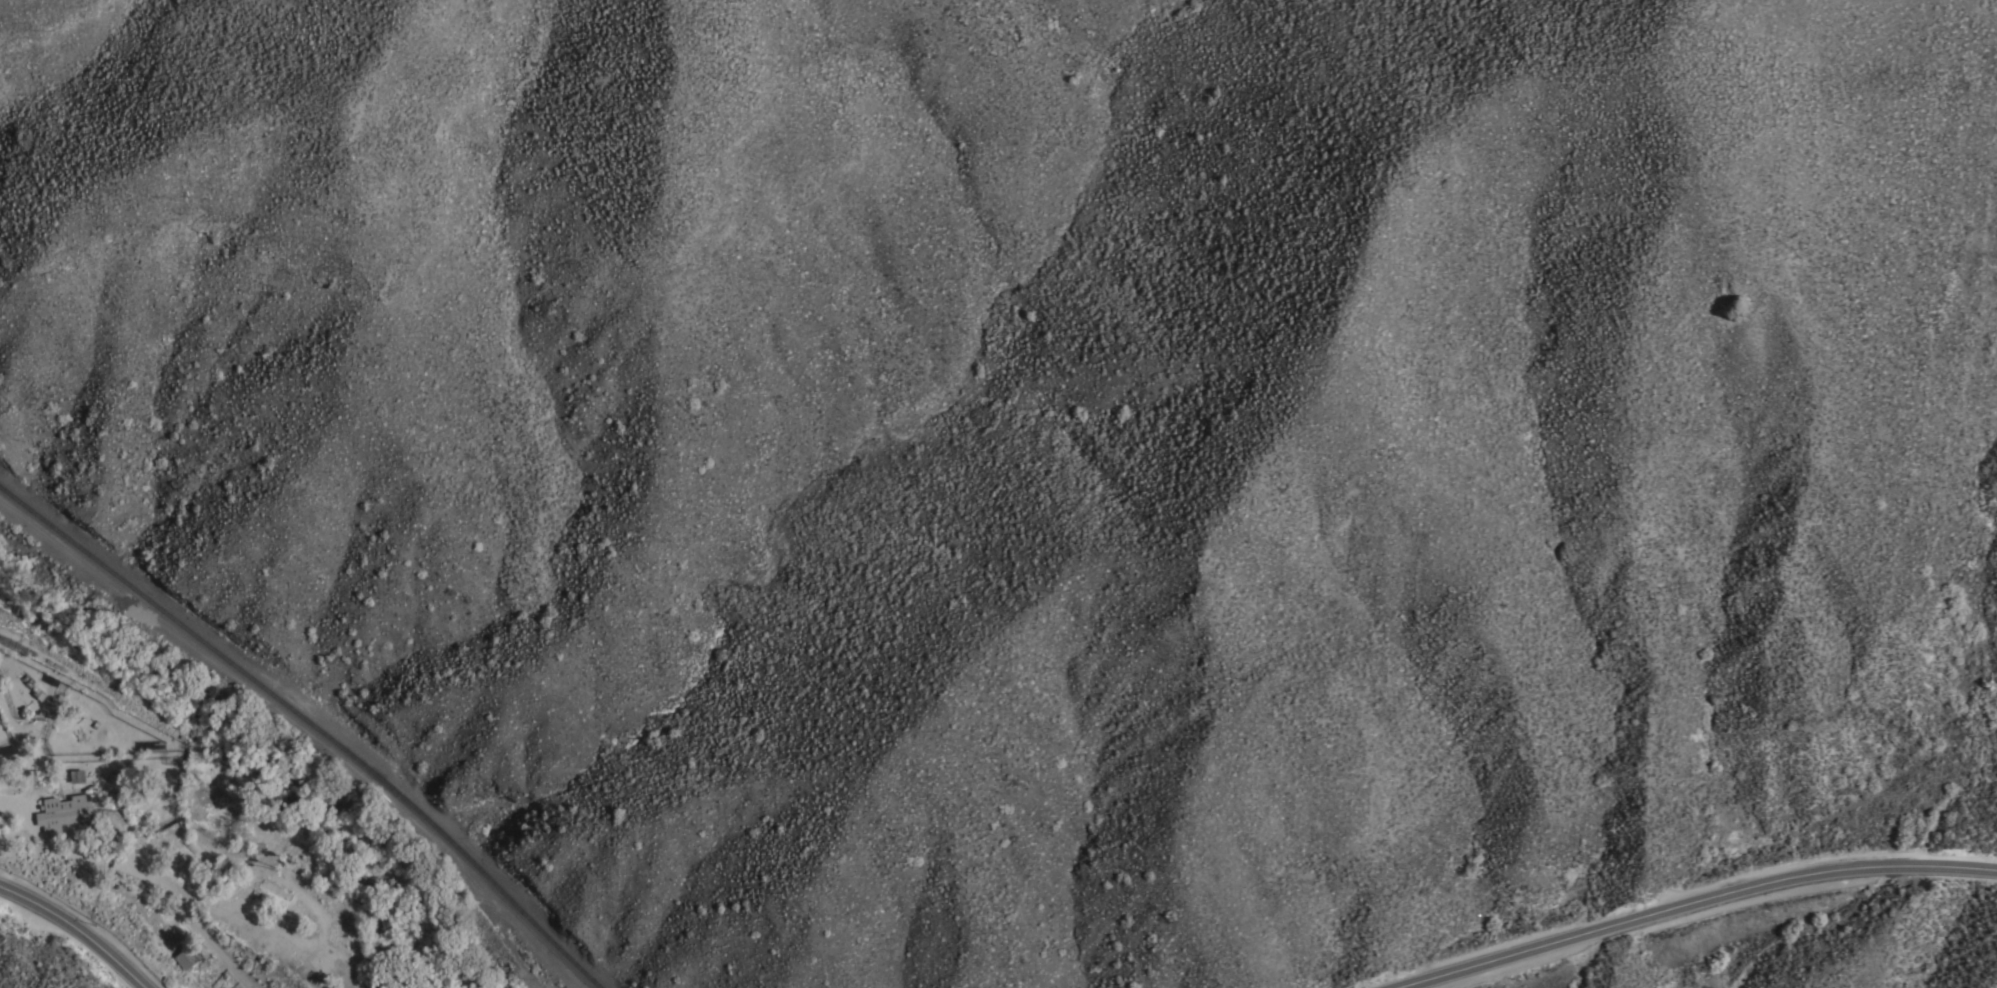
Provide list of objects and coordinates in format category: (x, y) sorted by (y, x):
railway: (236, 668)
building: (75, 774)
building: (232, 787)
building: (63, 812)
building: (189, 863)
building: (242, 876)
building: (275, 888)
road: (165, 889)
road: (1696, 901)
railway: (532, 921)
road: (75, 933)
building: (352, 938)
building: (336, 946)
building: (185, 956)
building: (355, 963)

